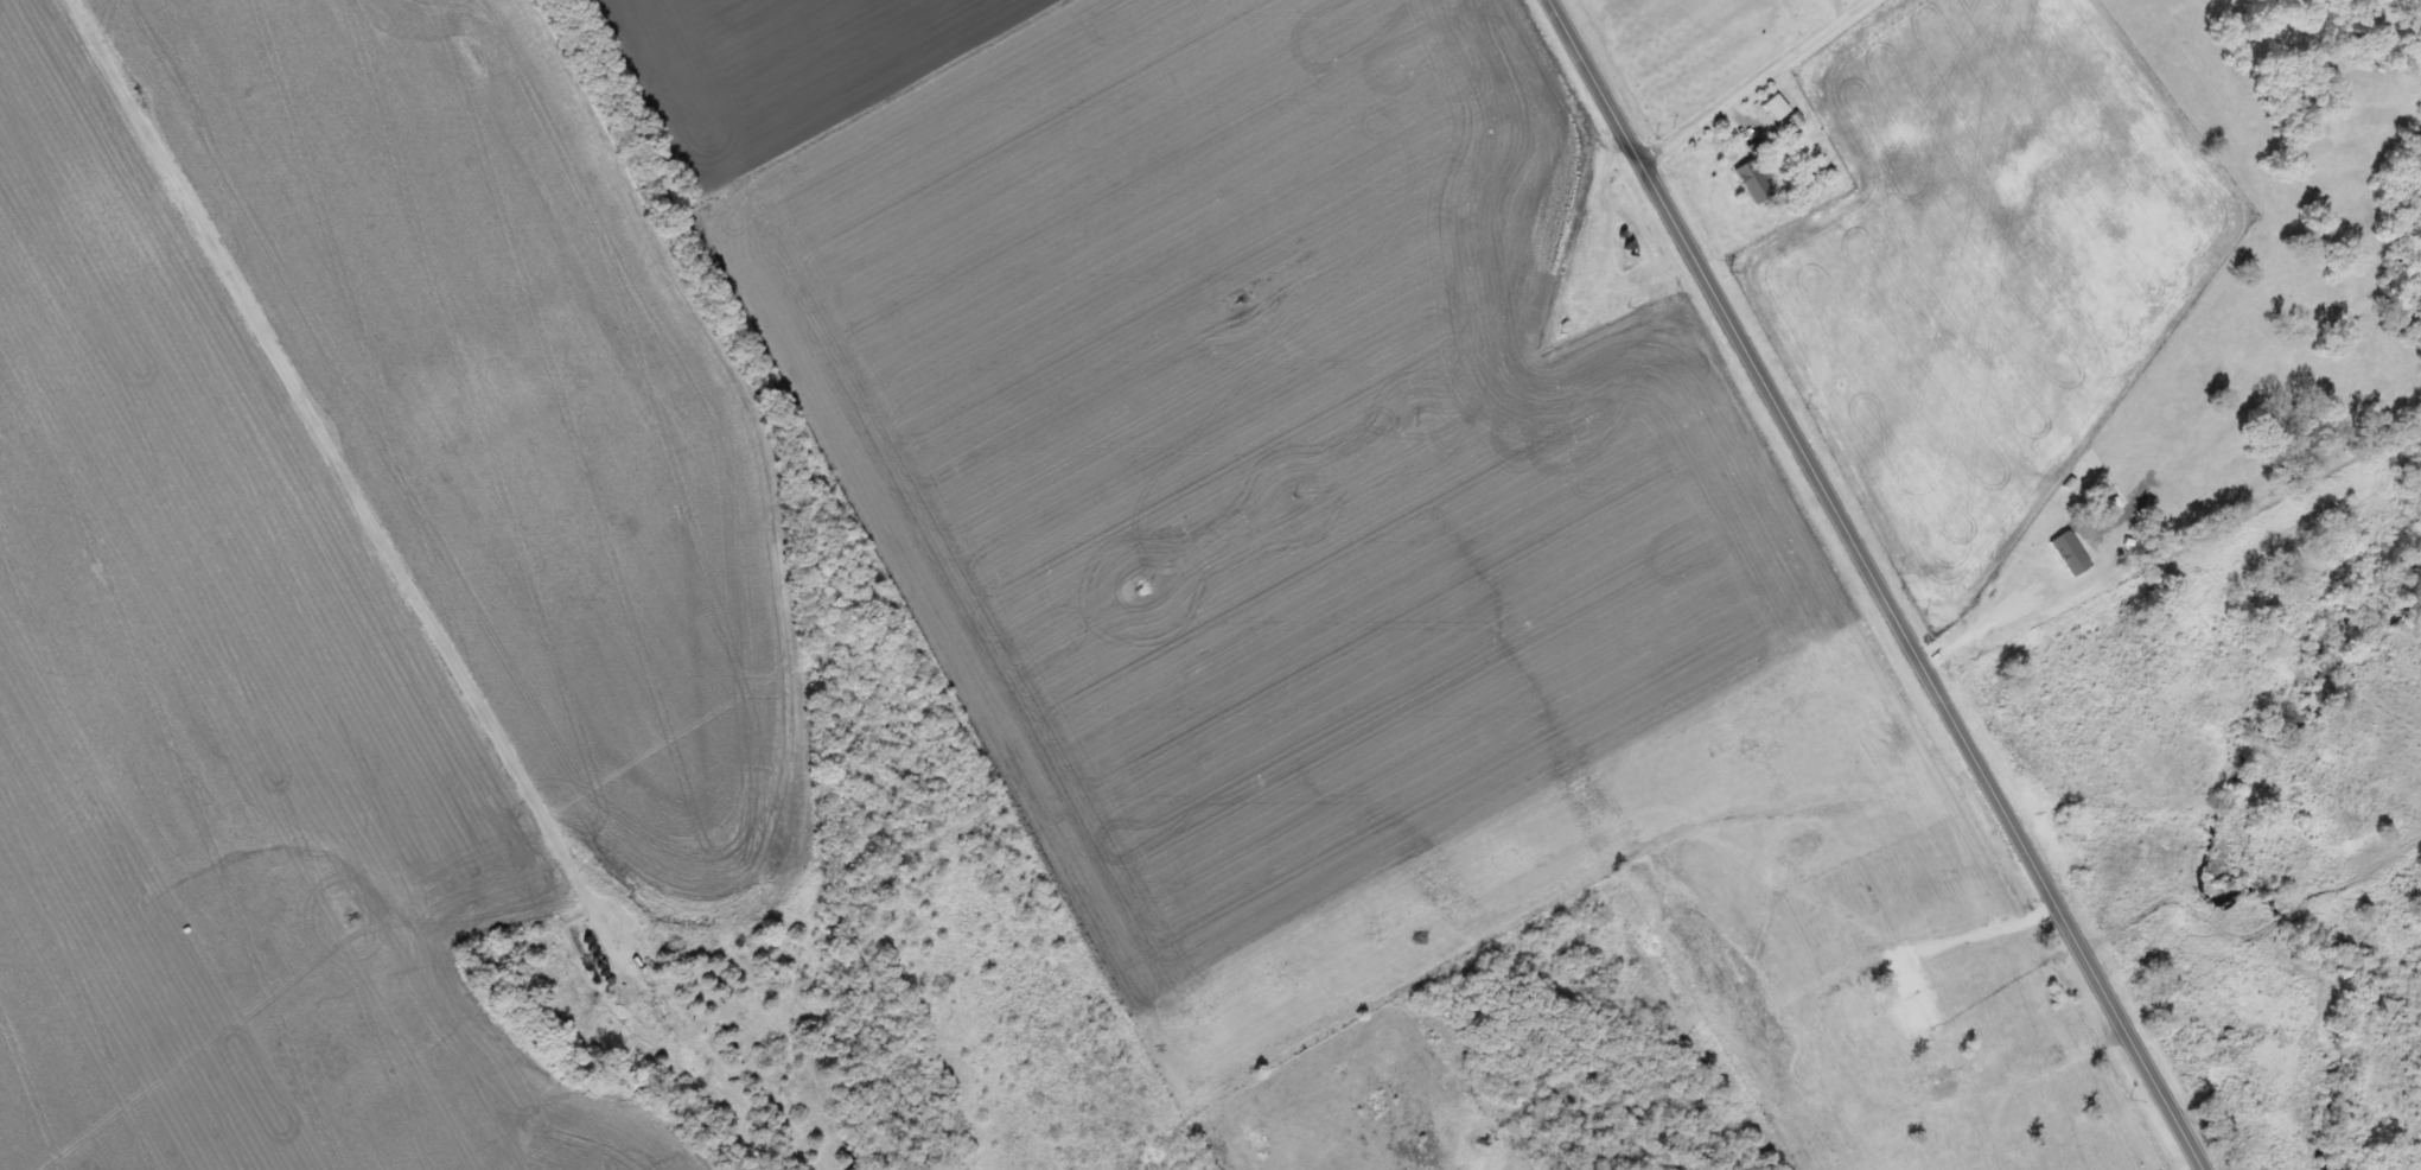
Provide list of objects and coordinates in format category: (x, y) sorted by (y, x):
road: (1743, 80)
building: (1771, 109)
building: (1751, 182)
road: (342, 460)
road: (1880, 585)
building: (1872, 901)

